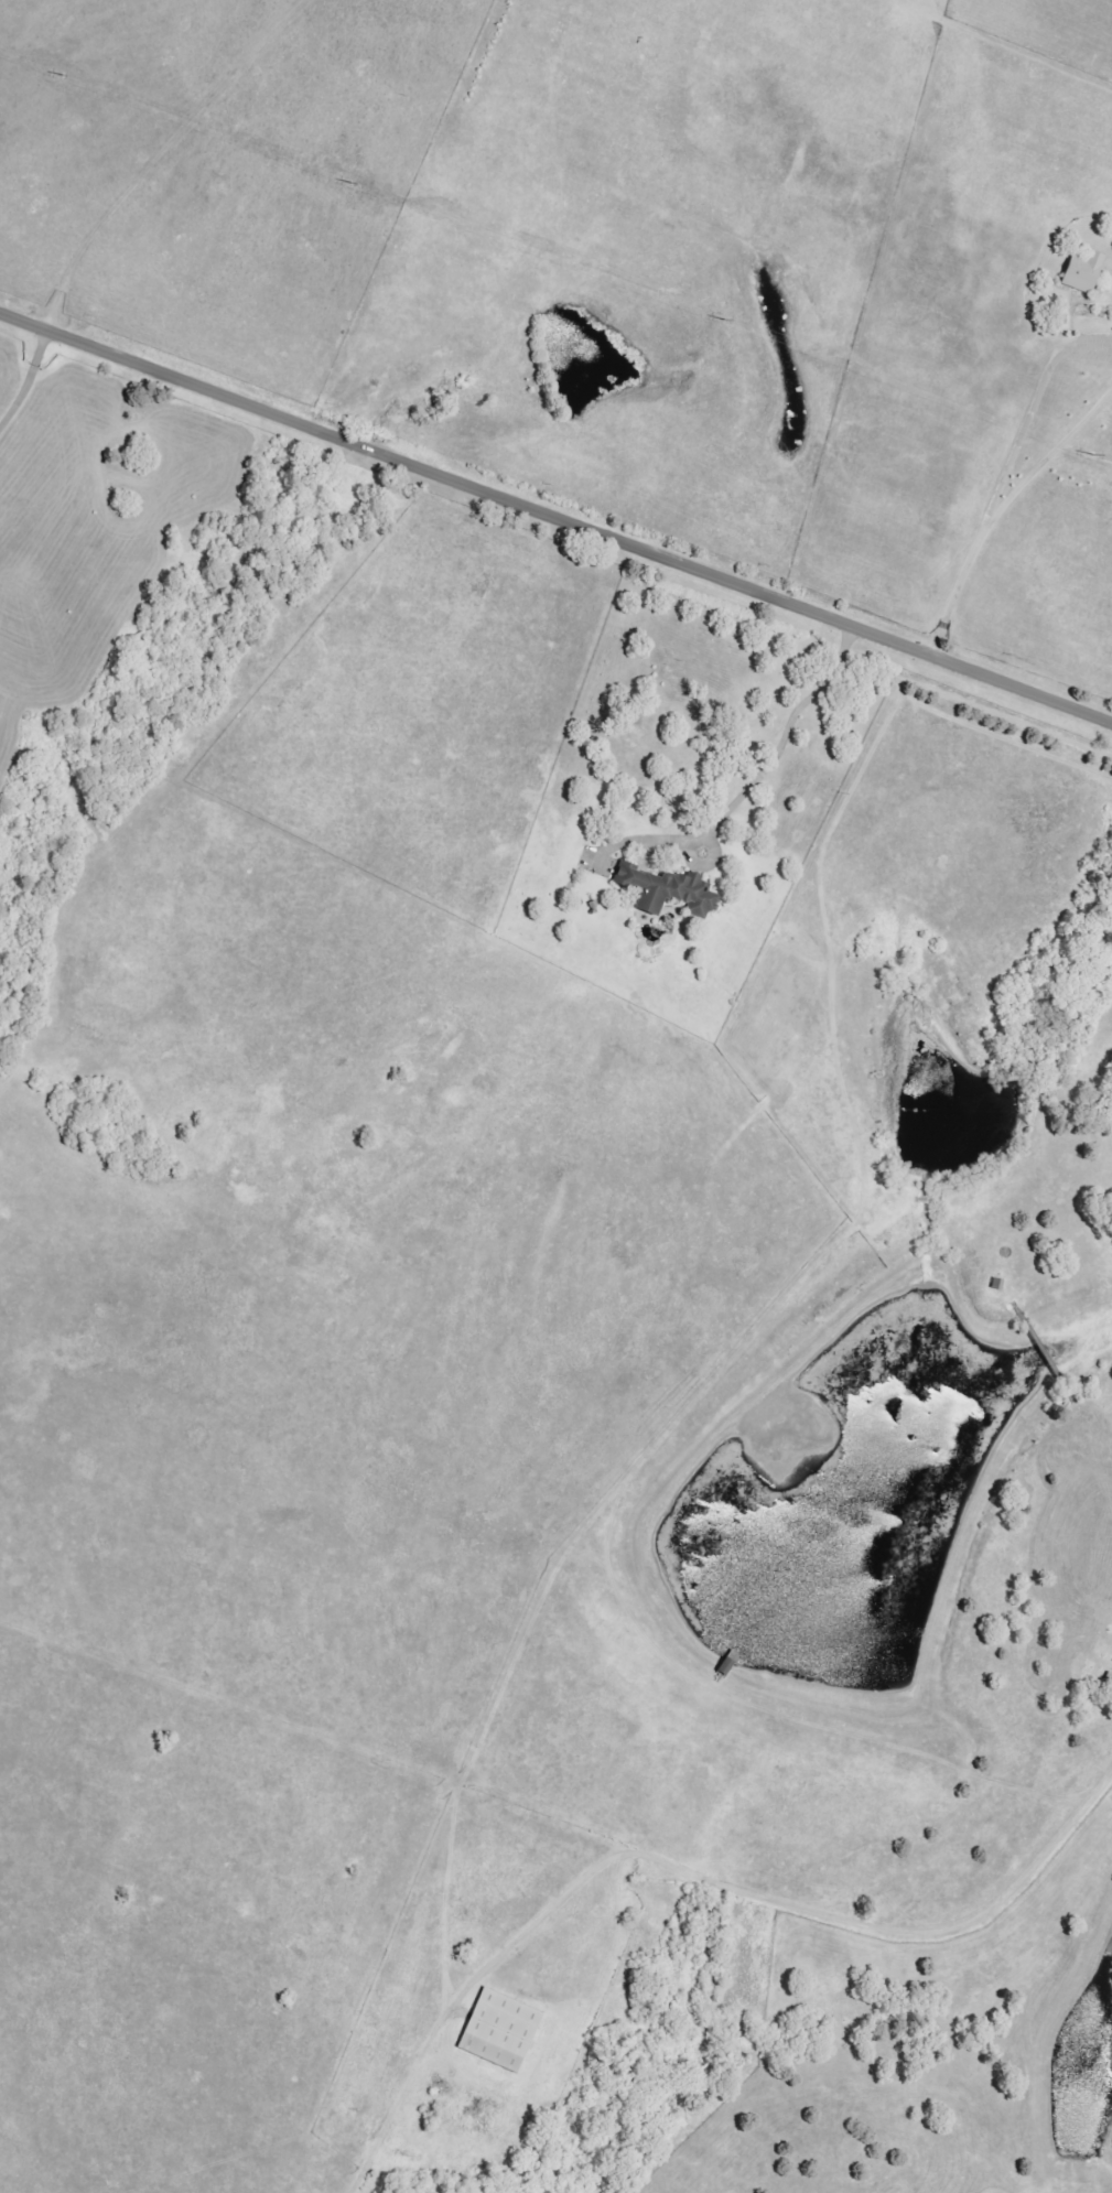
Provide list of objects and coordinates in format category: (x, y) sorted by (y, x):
road: (176, 164)
building: (1086, 273)
road: (29, 380)
road: (1000, 512)
road: (557, 516)
road: (780, 742)
building: (670, 892)
road: (790, 1919)
building: (503, 2031)

